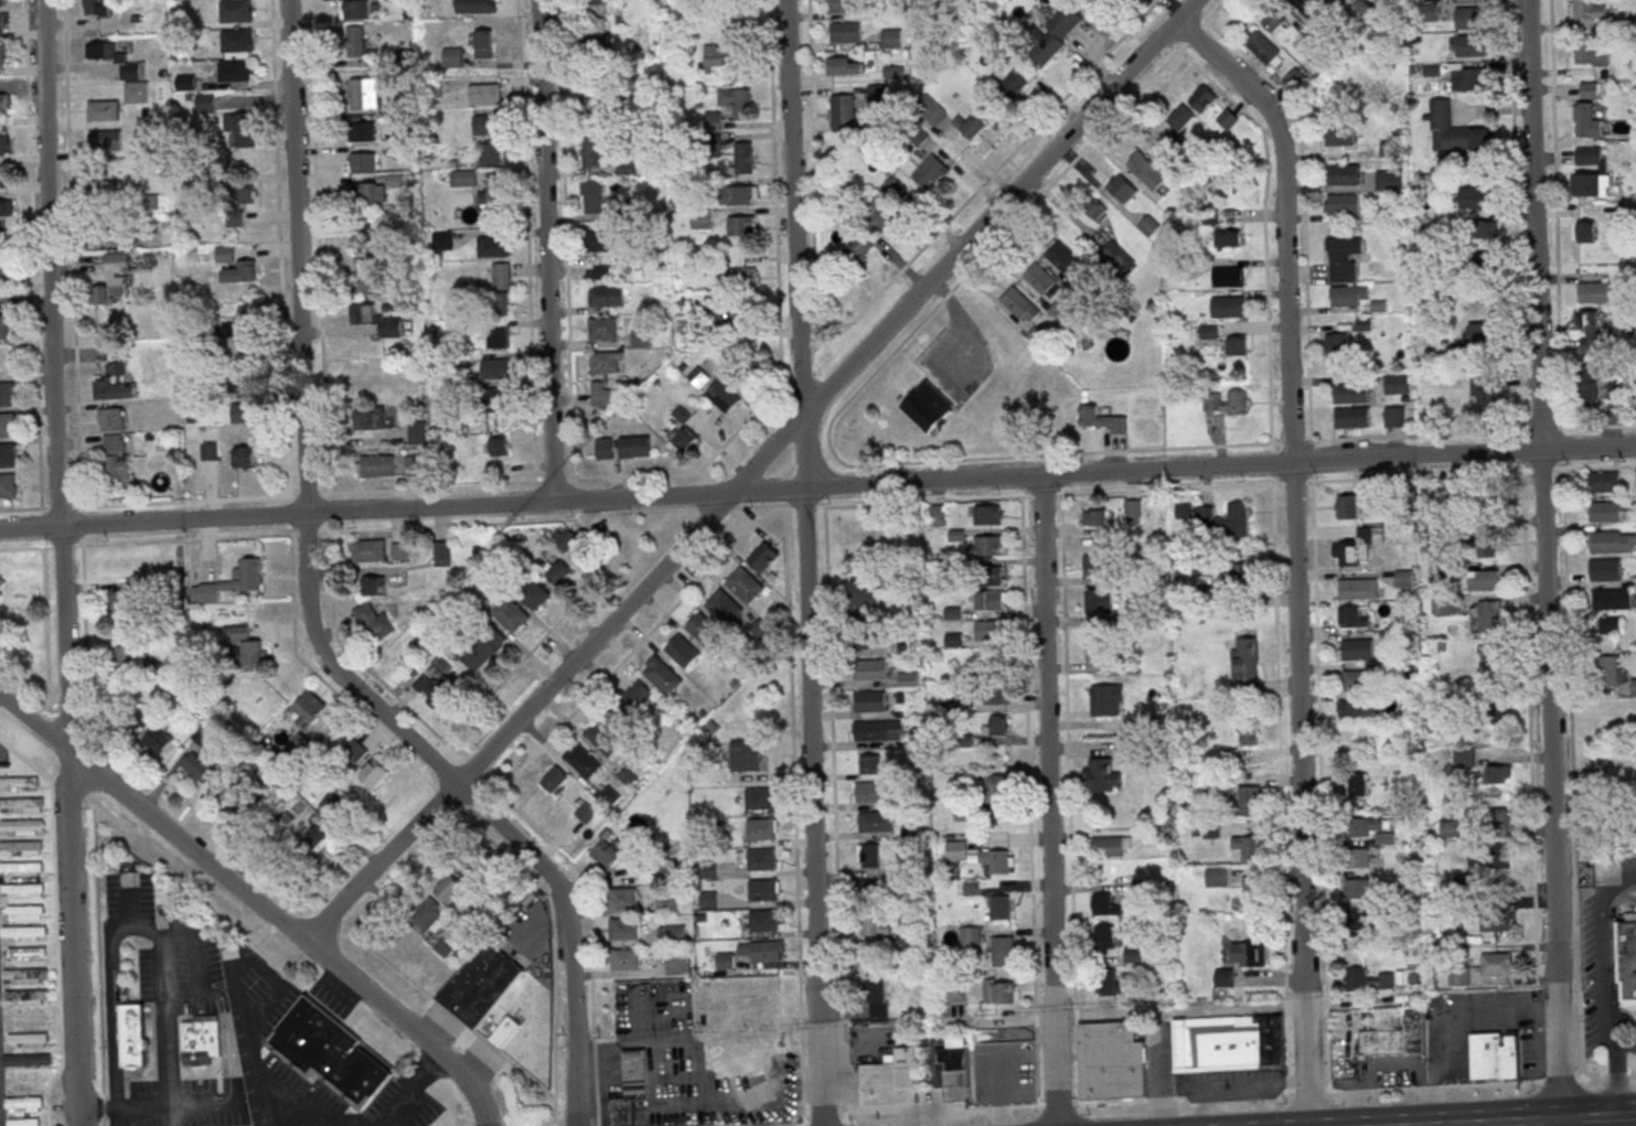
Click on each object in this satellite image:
building: (1, 1)
building: (596, 1)
building: (1327, 1)
building: (843, 6)
building: (97, 8)
building: (477, 8)
building: (1306, 8)
building: (355, 9)
building: (1585, 10)
building: (236, 11)
building: (1467, 18)
building: (2, 21)
building: (1273, 21)
building: (1058, 29)
building: (844, 32)
building: (889, 37)
building: (236, 40)
building: (356, 41)
building: (484, 43)
building: (1469, 46)
building: (595, 49)
building: (1262, 49)
building: (1587, 54)
building: (1, 55)
building: (453, 56)
building: (713, 56)
building: (844, 66)
building: (122, 69)
building: (235, 71)
building: (892, 72)
building: (1467, 78)
building: (1293, 79)
building: (589, 89)
building: (1587, 90)
building: (364, 94)
building: (484, 94)
building: (876, 94)
building: (1200, 97)
building: (4, 101)
building: (205, 103)
building: (736, 103)
building: (103, 110)
building: (930, 111)
building: (842, 112)
building: (1180, 118)
building: (1227, 119)
building: (1585, 120)
building: (485, 125)
building: (970, 126)
building: (240, 128)
building: (1453, 130)
building: (362, 131)
building: (1339, 135)
building: (1164, 136)
building: (105, 140)
building: (3, 143)
building: (594, 152)
building: (492, 153)
building: (744, 158)
building: (362, 162)
building: (629, 168)
building: (1590, 171)
building: (929, 172)
building: (1146, 172)
building: (1343, 174)
building: (3, 176)
building: (462, 178)
building: (1388, 180)
building: (1121, 190)
building: (104, 191)
building: (364, 192)
building: (739, 194)
building: (498, 197)
building: (595, 197)
building: (1474, 197)
building: (237, 204)
building: (1340, 204)
building: (889, 205)
building: (4, 207)
building: (701, 221)
building: (740, 225)
building: (1147, 225)
building: (1584, 232)
building: (109, 234)
building: (363, 237)
building: (600, 242)
building: (860, 245)
building: (492, 246)
road: (544, 250)
building: (1060, 257)
building: (1341, 259)
building: (234, 266)
building: (4, 267)
building: (600, 272)
building: (114, 277)
building: (742, 277)
building: (1227, 277)
building: (1041, 281)
building: (371, 283)
building: (500, 289)
building: (1592, 292)
building: (606, 296)
building: (1348, 296)
building: (733, 305)
building: (1019, 305)
building: (1227, 307)
building: (1060, 309)
building: (376, 320)
building: (3, 326)
building: (602, 328)
building: (1586, 330)
road: (972, 332)
building: (1483, 335)
building: (240, 337)
building: (499, 337)
building: (641, 339)
building: (1339, 343)
building: (1237, 345)
building: (605, 362)
building: (496, 368)
building: (698, 376)
building: (238, 382)
building: (1587, 382)
building: (115, 384)
building: (1396, 384)
building: (1615, 388)
building: (1485, 390)
building: (601, 393)
building: (1350, 393)
building: (7, 394)
building: (723, 396)
building: (495, 399)
building: (1226, 403)
building: (927, 406)
building: (243, 412)
building: (1393, 416)
building: (1351, 417)
building: (111, 418)
building: (368, 418)
building: (1101, 419)
road: (302, 420)
building: (7, 423)
building: (417, 432)
building: (683, 437)
building: (500, 446)
building: (634, 446)
building: (605, 449)
building: (8, 454)
building: (115, 457)
building: (244, 458)
building: (414, 464)
building: (375, 465)
road: (749, 471)
road: (1345, 480)
building: (1604, 481)
building: (1635, 482)
building: (7, 484)
road: (817, 486)
road: (347, 492)
road: (1042, 494)
building: (1489, 498)
road: (922, 501)
building: (1349, 505)
road: (803, 507)
building: (1604, 511)
building: (1132, 512)
building: (938, 515)
building: (986, 515)
building: (1092, 517)
building: (1234, 521)
building: (564, 537)
building: (1605, 540)
road: (596, 541)
building: (1485, 545)
road: (62, 546)
building: (985, 546)
building: (1355, 546)
road: (25, 547)
building: (367, 550)
building: (398, 550)
road: (1293, 551)
building: (441, 553)
building: (762, 557)
road: (60, 562)
road: (804, 562)
road: (1542, 562)
building: (1093, 566)
building: (1605, 569)
building: (557, 571)
building: (1241, 572)
building: (245, 575)
building: (994, 576)
building: (1402, 578)
building: (1484, 580)
building: (745, 585)
building: (373, 586)
building: (1357, 588)
building: (533, 594)
building: (1611, 599)
building: (860, 600)
building: (988, 600)
building: (121, 601)
building: (1097, 601)
building: (723, 605)
building: (1443, 605)
road: (45, 614)
building: (510, 614)
building: (1488, 615)
building: (1349, 616)
building: (373, 620)
building: (1610, 624)
building: (702, 628)
building: (759, 629)
building: (987, 631)
building: (860, 640)
building: (1097, 646)
building: (245, 648)
building: (482, 648)
building: (1354, 648)
building: (682, 650)
building: (1491, 653)
building: (127, 658)
building: (1243, 664)
road: (29, 666)
building: (1126, 667)
building: (870, 669)
building: (1607, 671)
building: (661, 675)
building: (908, 679)
building: (1355, 680)
building: (1633, 686)
building: (431, 691)
building: (996, 695)
building: (634, 697)
road: (67, 698)
building: (868, 700)
building: (1106, 700)
building: (308, 708)
road: (83, 709)
building: (1356, 709)
building: (138, 715)
building: (1491, 717)
building: (995, 726)
building: (876, 730)
building: (1248, 733)
building: (602, 738)
building: (158, 740)
building: (297, 746)
road: (1047, 746)
building: (1124, 748)
building: (354, 751)
road: (1026, 753)
building: (747, 754)
building: (581, 761)
building: (1479, 763)
building: (868, 764)
building: (197, 768)
building: (373, 773)
road: (512, 775)
building: (1102, 775)
building: (556, 781)
building: (18, 782)
building: (1356, 784)
building: (995, 789)
building: (868, 792)
building: (231, 796)
building: (609, 796)
building: (763, 798)
building: (1249, 801)
building: (21, 804)
building: (331, 804)
building: (586, 813)
building: (1493, 818)
building: (876, 822)
building: (1361, 826)
building: (21, 827)
building: (761, 828)
building: (1448, 828)
building: (312, 840)
building: (1110, 846)
building: (20, 847)
building: (1247, 847)
building: (955, 849)
building: (606, 854)
building: (867, 856)
building: (1490, 856)
building: (1359, 858)
building: (761, 859)
building: (997, 860)
building: (20, 869)
building: (1215, 877)
building: (448, 888)
building: (1357, 888)
building: (762, 890)
building: (21, 891)
road: (303, 891)
parking lot: (129, 894)
building: (1251, 894)
building: (622, 898)
road: (129, 900)
road: (255, 902)
building: (667, 904)
building: (1103, 904)
building: (999, 908)
building: (24, 912)
building: (428, 915)
building: (1495, 919)
building: (1364, 920)
building: (764, 921)
building: (877, 925)
road: (552, 927)
building: (624, 929)
road: (367, 930)
road: (570, 931)
building: (23, 933)
building: (669, 934)
building: (970, 935)
building: (1104, 936)
road: (193, 945)
building: (762, 950)
building: (1003, 951)
building: (1133, 953)
building: (26, 954)
building: (1247, 954)
building: (1626, 956)
parking lot: (197, 957)
building: (624, 959)
building: (725, 962)
road: (239, 964)
building: (676, 964)
building: (1497, 965)
parking lot: (149, 970)
building: (24, 976)
parking lot: (243, 977)
building: (1222, 977)
building: (1458, 977)
building: (1106, 980)
building: (1367, 980)
building: (480, 982)
road: (1606, 987)
building: (1001, 991)
road: (160, 994)
road: (192, 994)
building: (24, 996)
building: (877, 998)
road: (263, 1001)
parking lot: (194, 1004)
parking lot: (270, 1005)
road: (1350, 1007)
road: (1179, 1010)
road: (1463, 1012)
road: (1034, 1018)
road: (111, 1019)
road: (999, 1020)
building: (503, 1029)
building: (132, 1031)
building: (1394, 1033)
building: (200, 1039)
building: (26, 1040)
road: (247, 1041)
road: (553, 1041)
building: (1229, 1042)
road: (1621, 1042)
building: (329, 1052)
road: (224, 1053)
building: (1495, 1057)
building: (26, 1060)
road: (233, 1060)
building: (1111, 1061)
building: (954, 1066)
road: (1036, 1066)
road: (1373, 1068)
road: (1155, 1069)
road: (1056, 1071)
building: (891, 1079)
parking lot: (300, 1084)
building: (632, 1086)
road: (408, 1090)
road: (289, 1093)
building: (756, 1096)
road: (192, 1102)
road: (320, 1102)
building: (23, 1103)
road: (1205, 1103)
parking lot: (404, 1104)
parking lot: (137, 1105)
parking lot: (205, 1105)
road: (1428, 1105)
road: (133, 1107)
road: (266, 1116)
road: (322, 1116)
road: (1613, 1117)
parking lot: (304, 1119)
road: (1574, 1119)
road: (1635, 1120)
building: (22, 1122)
road: (1505, 1123)

